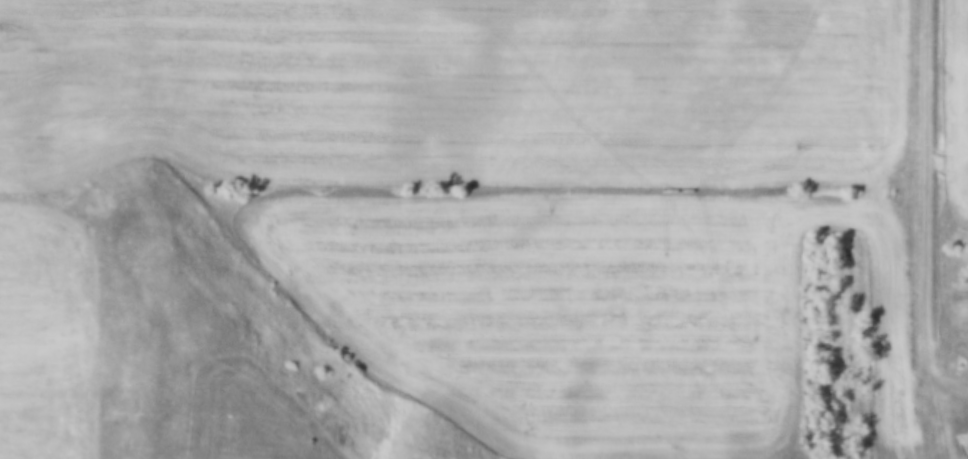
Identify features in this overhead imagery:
road: (928, 207)

